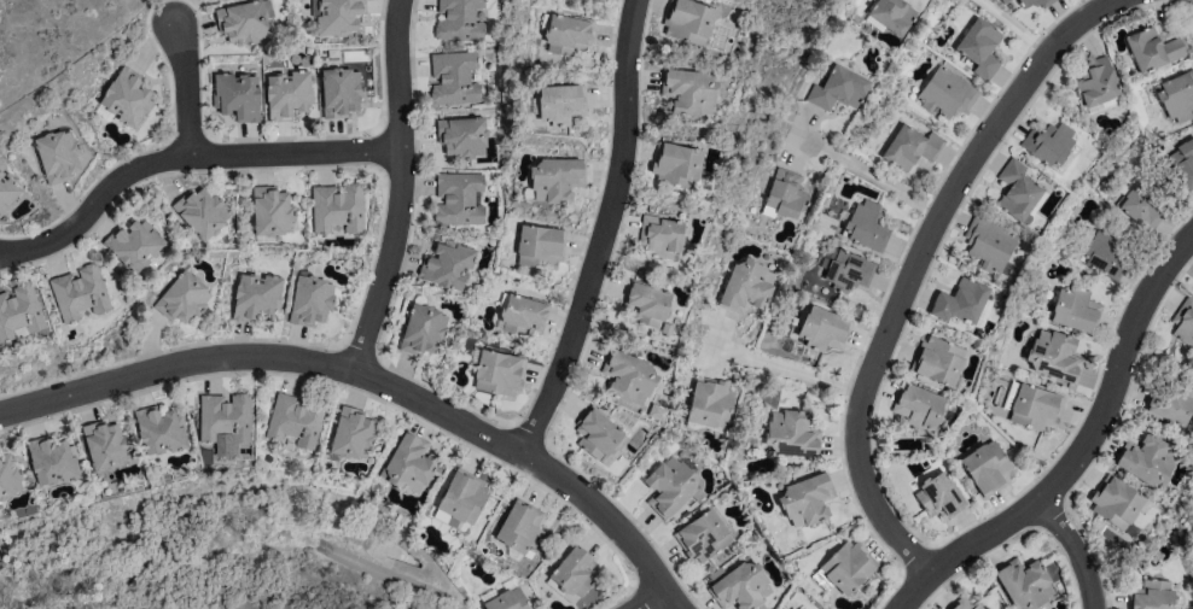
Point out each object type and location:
building: (1003, 1)
building: (1035, 2)
building: (890, 16)
building: (338, 17)
building: (244, 21)
building: (459, 21)
building: (687, 21)
road: (1015, 27)
building: (566, 34)
building: (979, 47)
building: (1153, 48)
building: (454, 78)
building: (1095, 82)
building: (838, 88)
road: (184, 92)
building: (339, 92)
building: (687, 92)
building: (947, 93)
building: (287, 94)
building: (1177, 95)
building: (126, 96)
building: (237, 96)
building: (560, 104)
building: (462, 137)
building: (1048, 144)
building: (910, 147)
road: (184, 153)
building: (57, 154)
building: (1183, 162)
building: (675, 164)
road: (872, 176)
building: (554, 180)
building: (1017, 189)
road: (402, 191)
building: (7, 193)
building: (784, 194)
building: (459, 198)
building: (1143, 204)
building: (337, 209)
building: (272, 211)
building: (202, 213)
building: (866, 226)
road: (600, 234)
building: (659, 235)
building: (134, 244)
building: (988, 244)
building: (540, 246)
building: (1105, 253)
building: (447, 264)
road: (918, 267)
building: (848, 271)
building: (746, 287)
building: (78, 292)
building: (256, 297)
building: (182, 298)
building: (310, 299)
building: (960, 301)
building: (648, 304)
building: (1076, 310)
building: (19, 311)
building: (523, 316)
building: (1183, 322)
building: (824, 329)
building: (423, 330)
building: (1054, 356)
building: (937, 361)
road: (791, 370)
building: (499, 373)
building: (628, 376)
road: (374, 385)
building: (1170, 402)
building: (709, 403)
building: (916, 406)
building: (1035, 408)
building: (223, 416)
building: (293, 422)
building: (159, 429)
building: (596, 432)
building: (351, 434)
building: (788, 434)
building: (105, 445)
road: (1084, 452)
building: (1146, 458)
building: (52, 459)
building: (408, 463)
building: (987, 468)
building: (8, 476)
building: (669, 486)
building: (462, 496)
building: (939, 496)
building: (807, 499)
building: (1116, 502)
building: (519, 526)
building: (705, 534)
road: (1078, 552)
building: (844, 567)
building: (572, 574)
building: (1024, 582)
building: (740, 586)
building: (1152, 596)
building: (507, 601)
road: (657, 604)
building: (965, 604)

